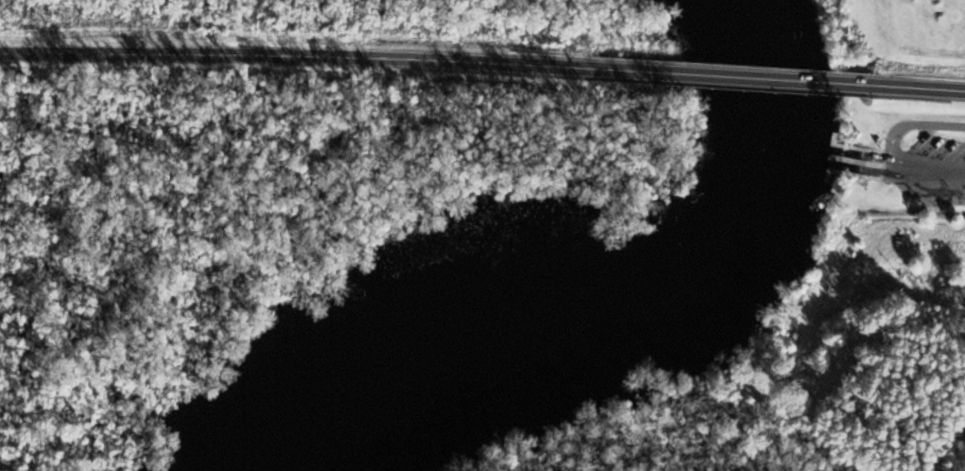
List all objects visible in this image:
road: (327, 54)
road: (769, 78)
road: (924, 87)
road: (885, 133)
road: (945, 167)
parking lot: (946, 168)
road: (881, 183)

